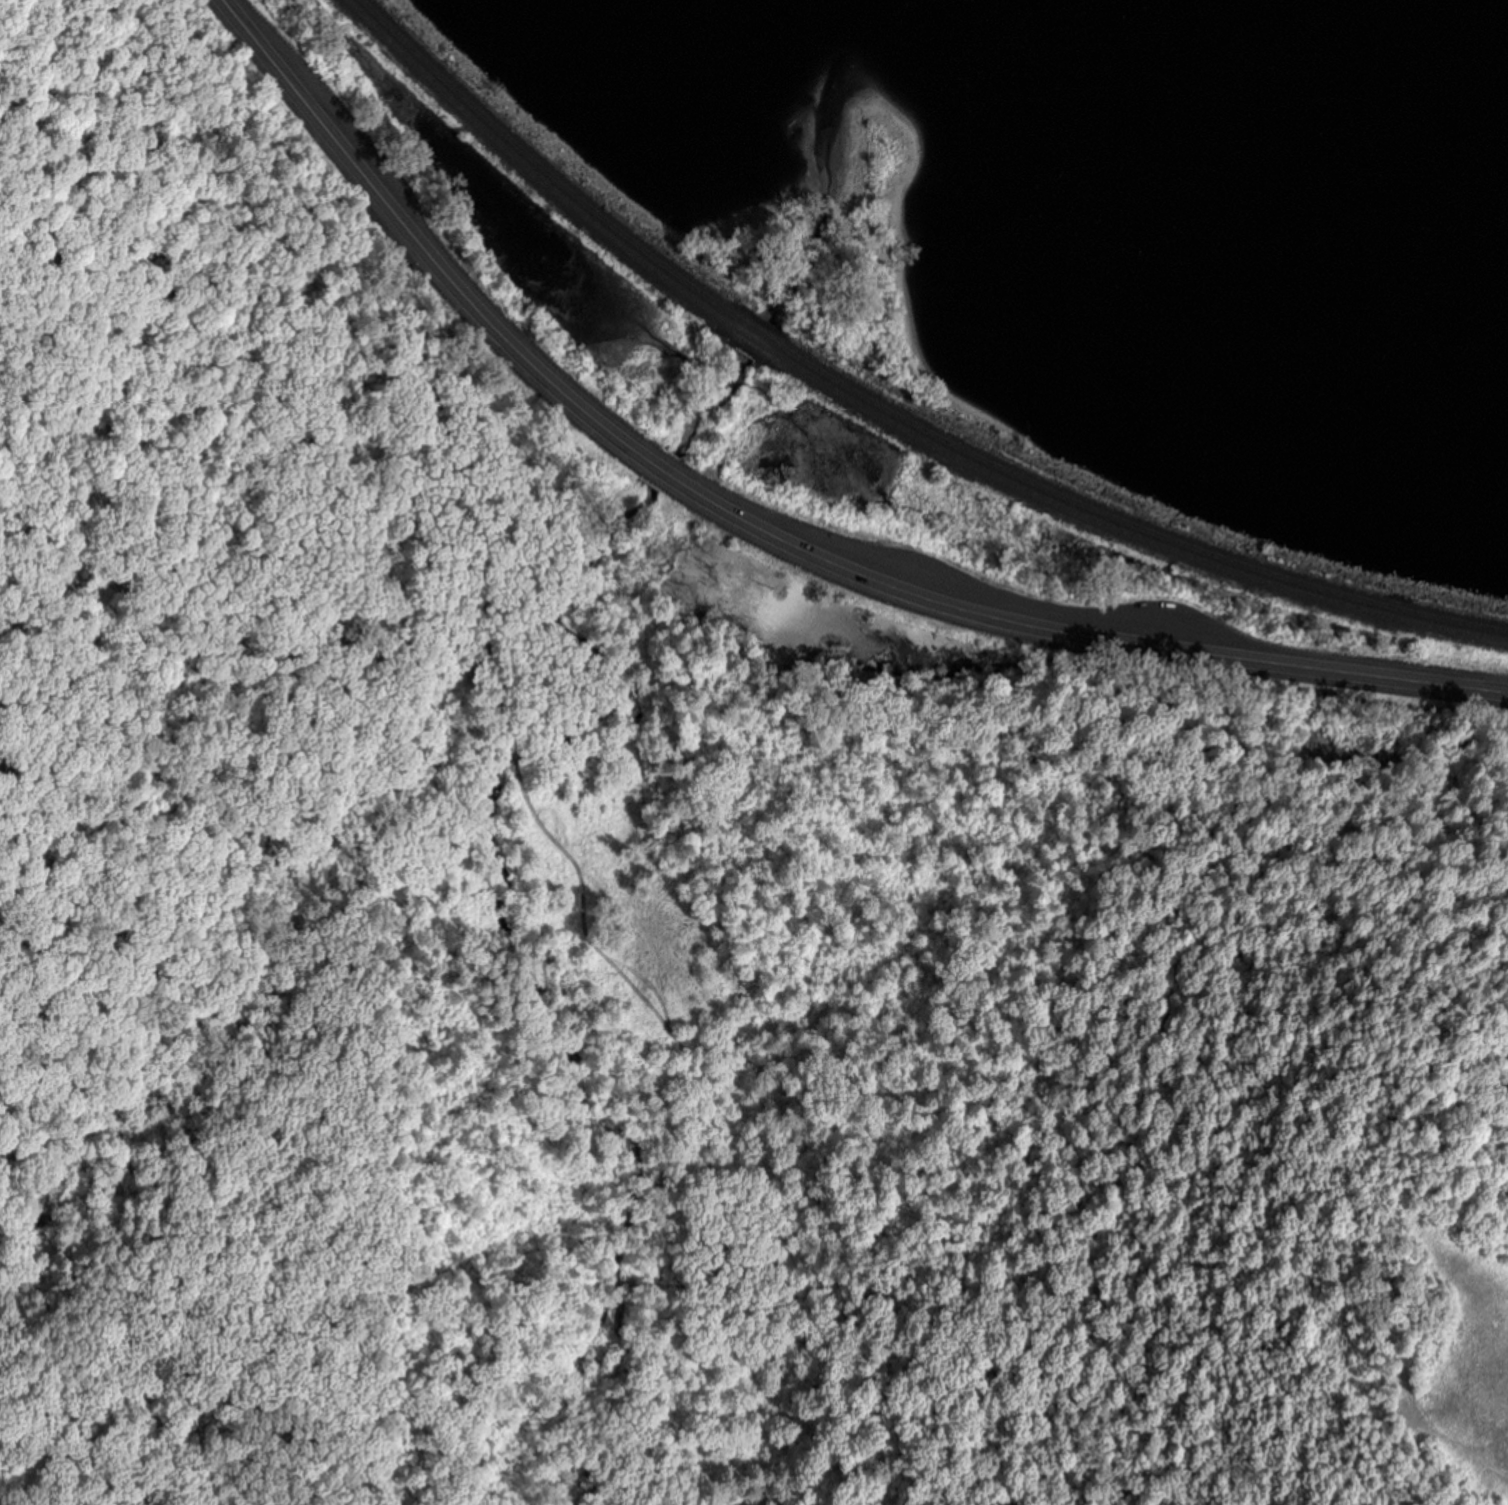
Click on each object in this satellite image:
railway: (885, 408)
railway: (877, 414)
road: (763, 531)
parking lot: (1024, 599)
river: (610, 864)

